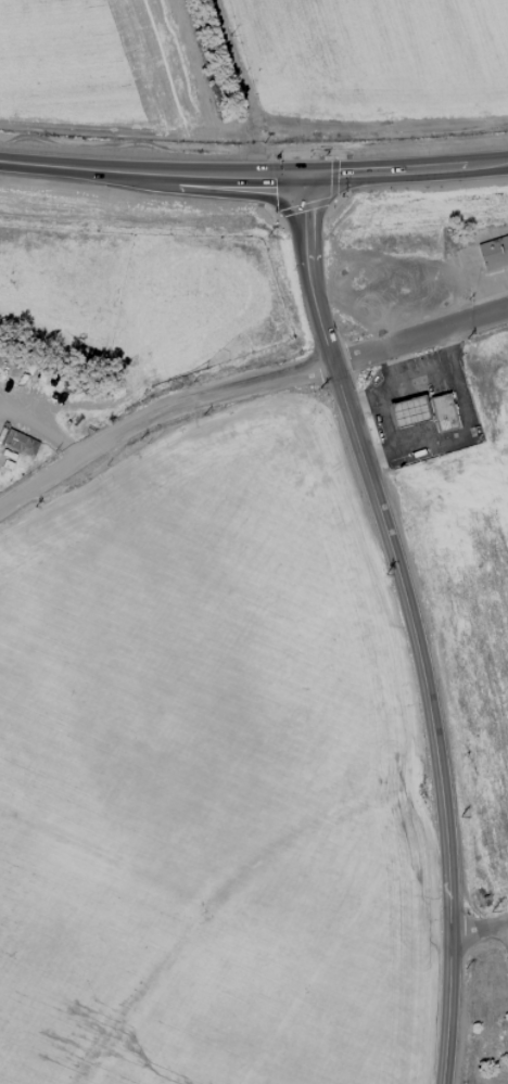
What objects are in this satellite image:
road: (253, 174)
building: (493, 252)
road: (431, 378)
road: (244, 383)
road: (361, 403)
road: (379, 406)
building: (407, 411)
building: (442, 411)
gas station: (442, 411)
road: (470, 416)
road: (42, 425)
building: (18, 442)
road: (409, 623)
road: (478, 928)
road: (506, 929)

